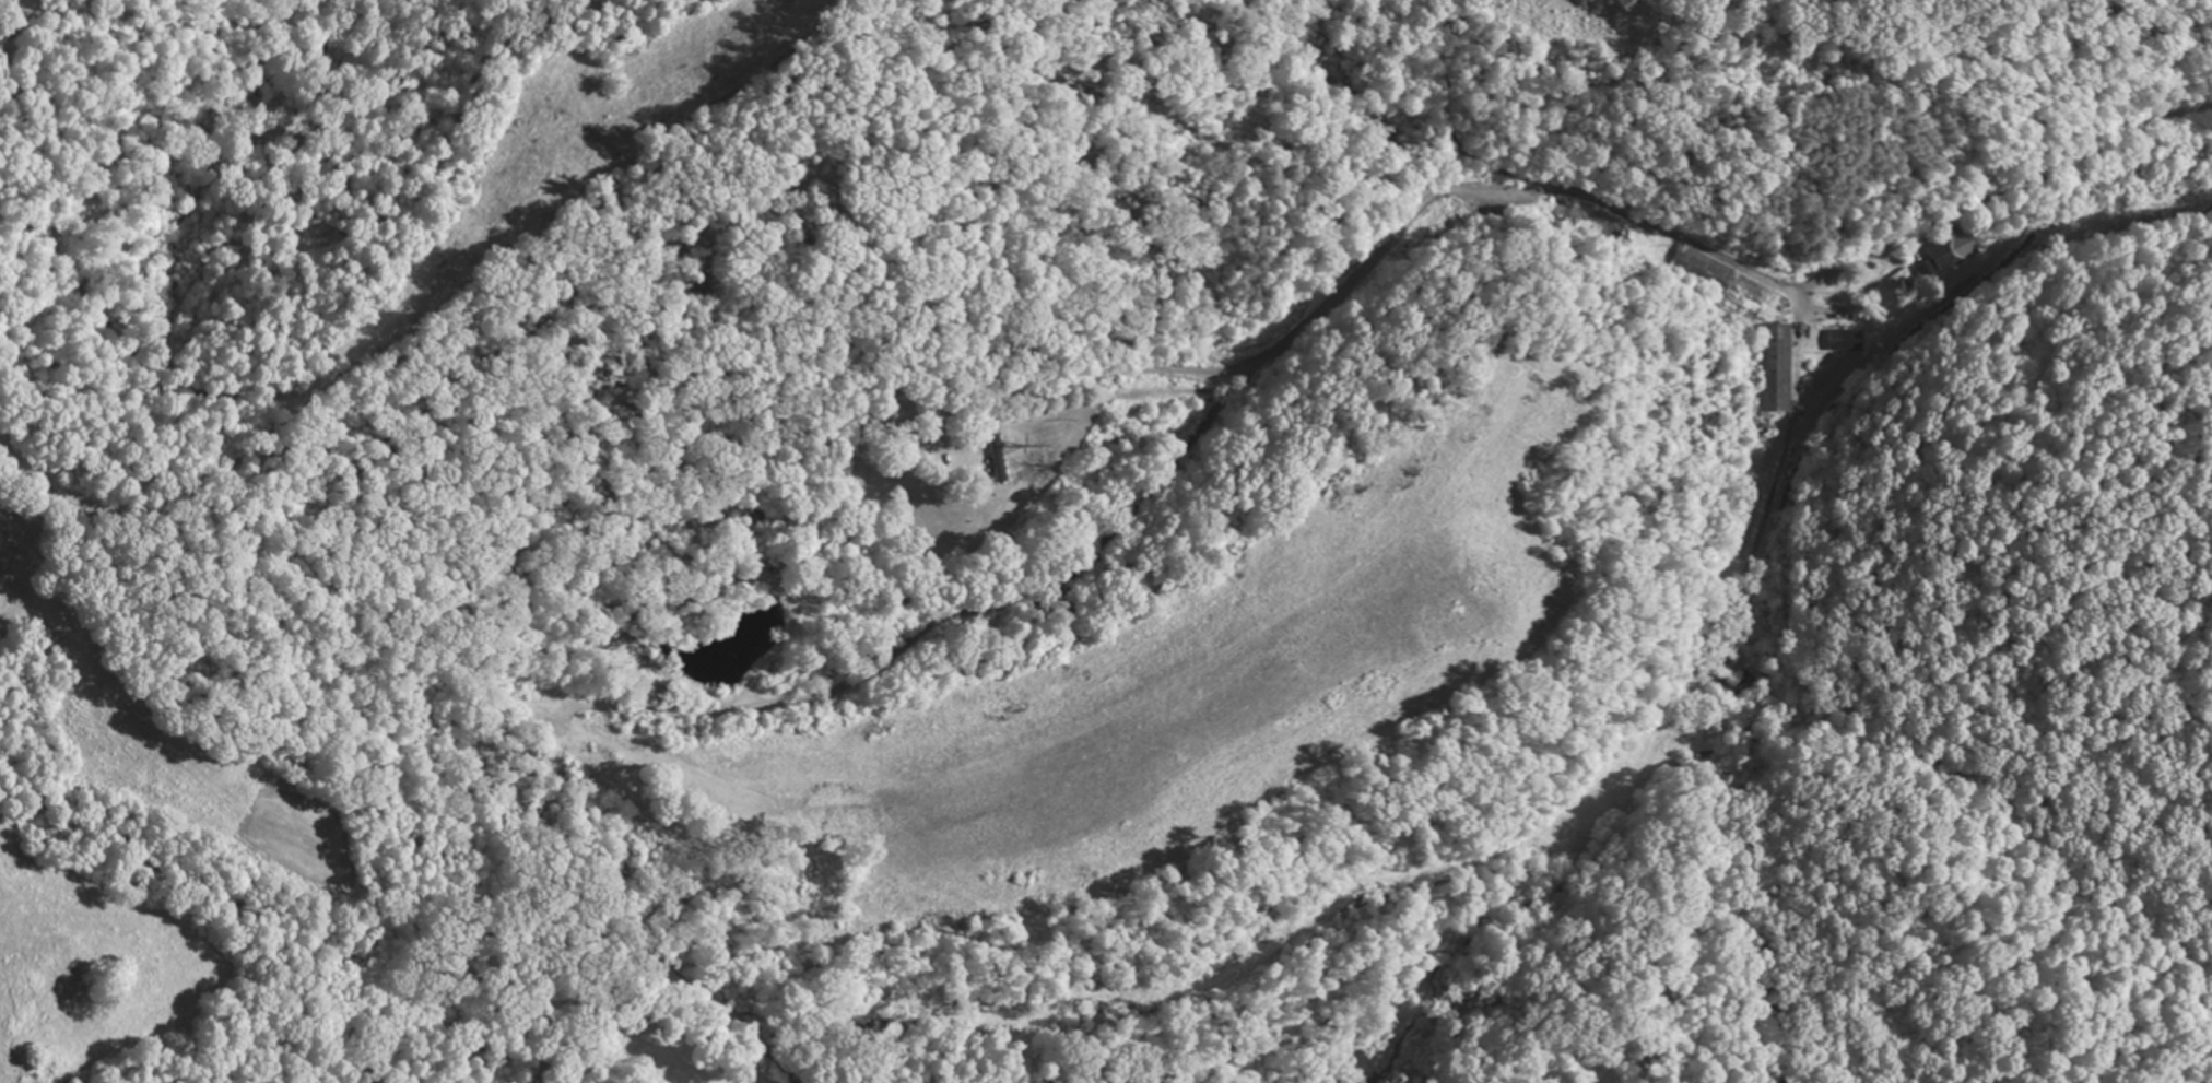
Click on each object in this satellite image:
building: (1944, 255)
building: (1843, 343)
building: (1774, 370)
building: (996, 460)
building: (1730, 687)

